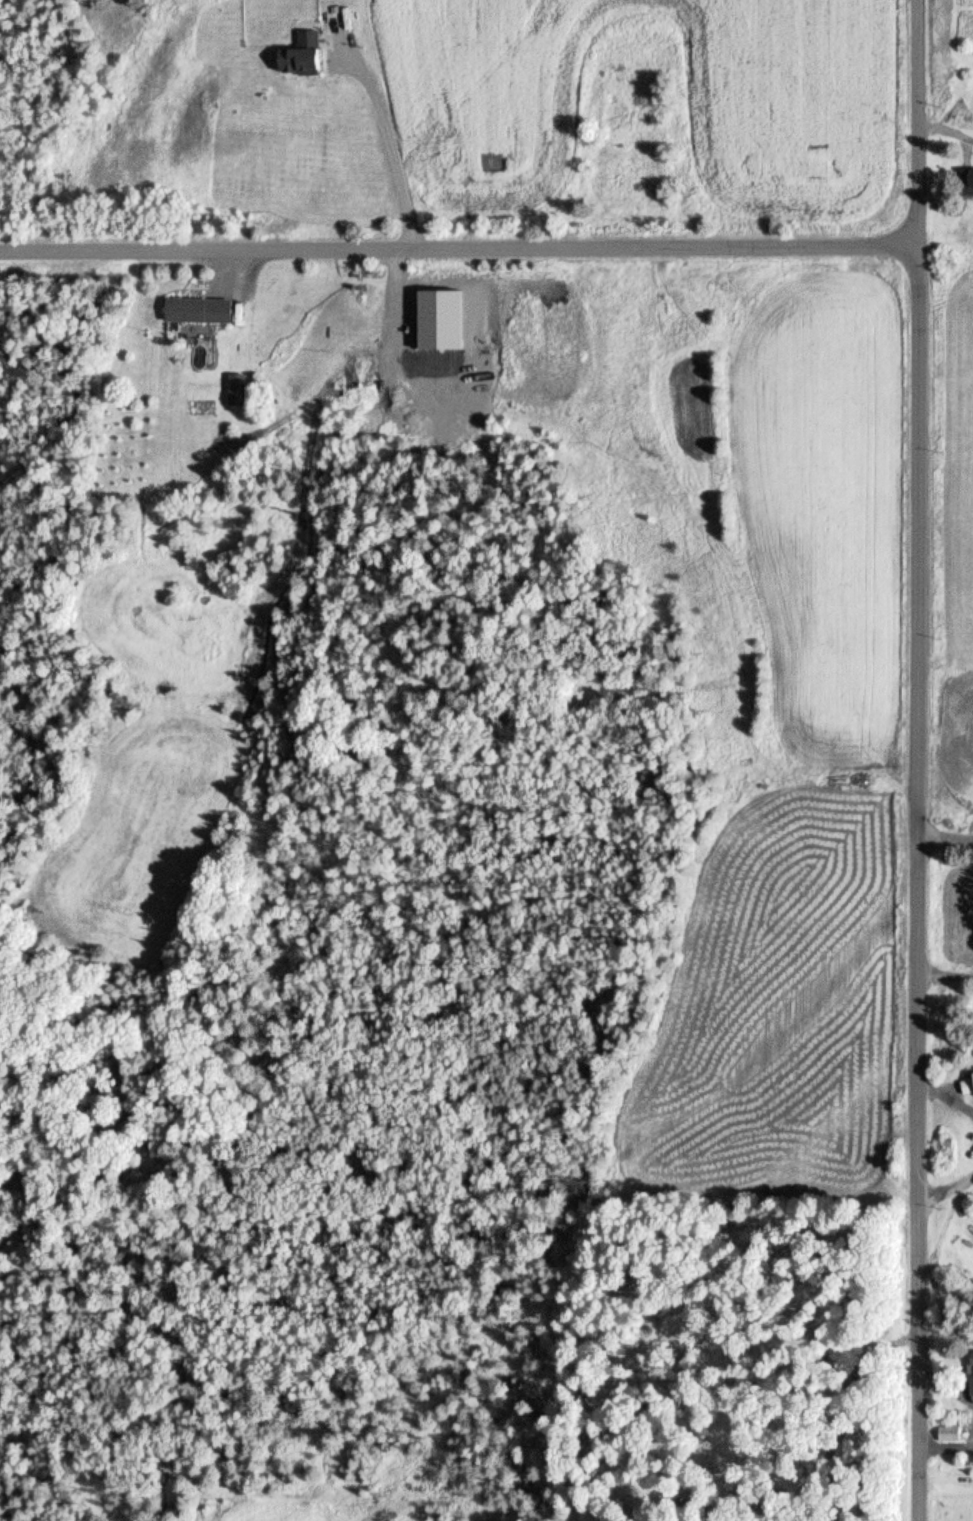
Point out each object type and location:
building: (309, 50)
road: (396, 135)
building: (970, 179)
road: (462, 248)
building: (206, 307)
building: (244, 387)
road: (925, 760)
road: (949, 839)
road: (949, 977)
building: (968, 1081)
road: (950, 1096)
road: (950, 1194)
road: (846, 1421)
building: (956, 1431)

